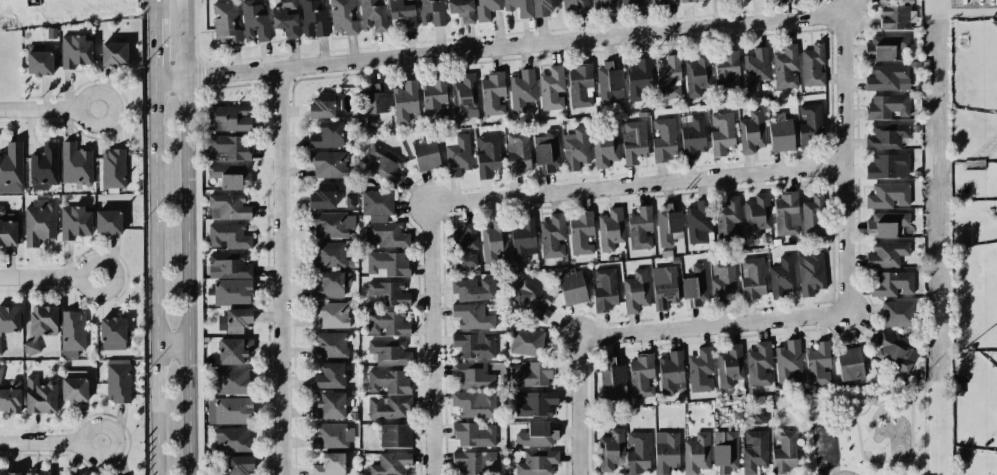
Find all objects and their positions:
building: (690, 0)
building: (662, 1)
building: (632, 3)
building: (603, 4)
building: (575, 6)
building: (518, 7)
building: (543, 7)
road: (153, 9)
building: (461, 9)
building: (486, 9)
building: (402, 12)
building: (431, 12)
building: (372, 15)
building: (895, 16)
building: (343, 17)
building: (285, 18)
building: (313, 18)
building: (225, 21)
building: (254, 22)
road: (501, 46)
building: (885, 46)
building: (76, 50)
road: (153, 50)
building: (114, 54)
building: (38, 61)
building: (813, 65)
building: (785, 67)
building: (756, 68)
building: (727, 73)
building: (697, 75)
building: (639, 78)
building: (669, 78)
building: (888, 78)
building: (609, 83)
building: (580, 86)
building: (552, 88)
building: (522, 90)
building: (492, 94)
building: (464, 95)
building: (435, 101)
building: (405, 102)
building: (375, 105)
building: (322, 106)
building: (887, 106)
road: (48, 110)
building: (228, 118)
building: (810, 124)
building: (751, 132)
building: (721, 133)
building: (781, 133)
building: (327, 135)
building: (692, 136)
building: (886, 136)
building: (664, 140)
building: (634, 141)
building: (605, 146)
building: (229, 148)
building: (576, 148)
building: (547, 152)
building: (517, 153)
building: (426, 154)
building: (457, 154)
building: (488, 156)
road: (850, 162)
building: (75, 164)
building: (329, 164)
building: (385, 164)
building: (888, 166)
power tower: (975, 166)
building: (44, 167)
building: (113, 168)
building: (11, 169)
building: (230, 175)
road: (653, 181)
building: (888, 195)
building: (323, 196)
building: (228, 207)
building: (786, 214)
building: (757, 215)
building: (813, 216)
building: (382, 220)
building: (728, 220)
building: (75, 221)
building: (699, 221)
building: (39, 222)
building: (108, 222)
building: (668, 223)
building: (886, 223)
building: (332, 225)
building: (640, 228)
building: (7, 229)
building: (610, 229)
building: (581, 233)
building: (227, 236)
building: (552, 236)
road: (187, 237)
building: (522, 238)
building: (494, 240)
building: (466, 248)
building: (887, 254)
building: (327, 255)
building: (387, 264)
building: (229, 266)
road: (285, 271)
building: (811, 273)
building: (782, 277)
road: (49, 278)
road: (155, 278)
building: (753, 278)
building: (722, 280)
building: (892, 284)
building: (328, 286)
building: (695, 286)
building: (572, 287)
building: (664, 287)
building: (474, 289)
building: (604, 289)
building: (635, 291)
building: (232, 292)
building: (389, 293)
building: (532, 300)
building: (897, 313)
building: (331, 315)
building: (472, 316)
building: (9, 319)
building: (43, 320)
building: (234, 320)
building: (387, 323)
road: (731, 323)
road: (438, 328)
building: (72, 333)
building: (113, 334)
building: (526, 342)
road: (172, 344)
building: (329, 345)
building: (474, 345)
building: (31, 347)
building: (0, 350)
building: (234, 351)
building: (389, 352)
building: (895, 353)
building: (789, 362)
building: (850, 363)
building: (818, 364)
building: (759, 365)
building: (729, 366)
building: (0, 370)
building: (700, 370)
building: (671, 372)
building: (530, 374)
building: (472, 375)
building: (641, 375)
building: (329, 376)
building: (613, 380)
building: (118, 381)
building: (231, 381)
building: (389, 381)
building: (74, 389)
road: (584, 392)
building: (40, 395)
building: (11, 396)
building: (472, 404)
building: (537, 404)
road: (869, 405)
building: (329, 406)
building: (389, 407)
building: (232, 410)
road: (911, 427)
park: (865, 429)
building: (474, 434)
building: (396, 435)
building: (537, 435)
building: (332, 436)
building: (232, 439)
road: (50, 443)
parking lot: (824, 448)
building: (611, 450)
building: (726, 450)
building: (755, 451)
building: (785, 451)
road: (831, 451)
building: (666, 452)
building: (638, 453)
building: (696, 454)
building: (537, 462)
building: (475, 463)
building: (391, 464)
building: (239, 465)
building: (330, 465)
building: (10, 473)
building: (37, 474)

